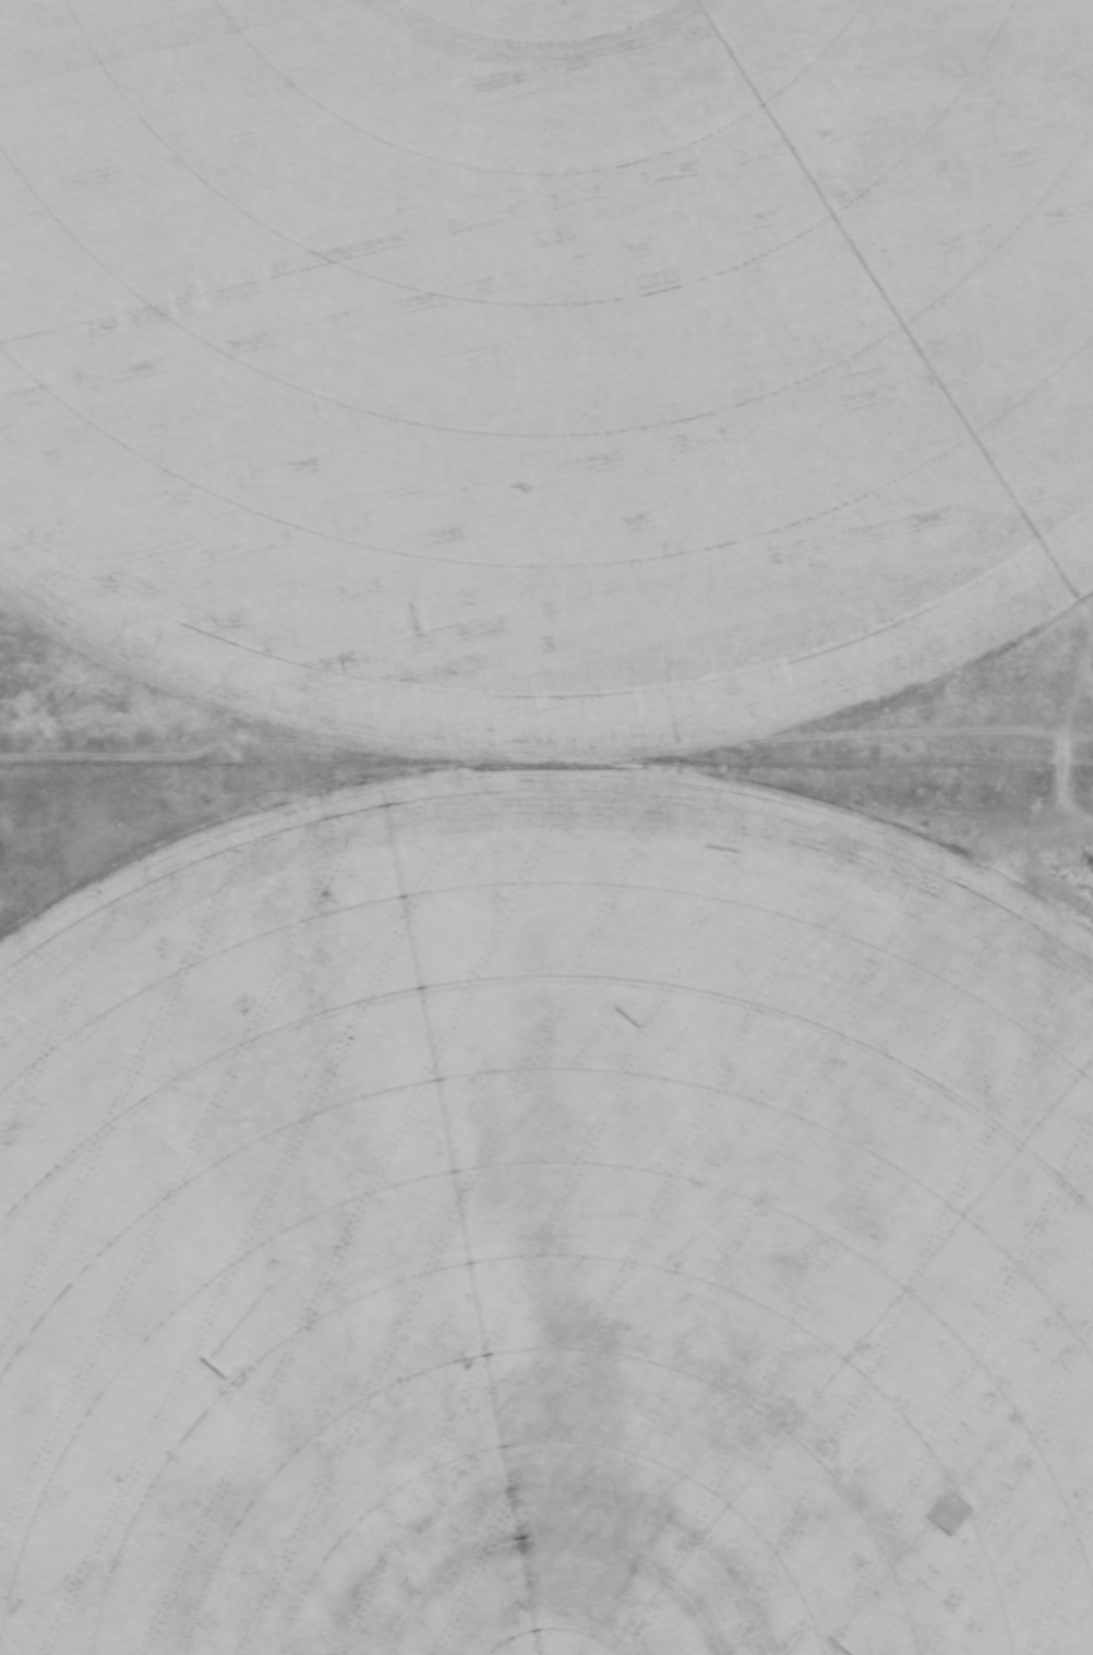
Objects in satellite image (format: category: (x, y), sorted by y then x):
crop: (544, 348)
crop: (548, 1237)

